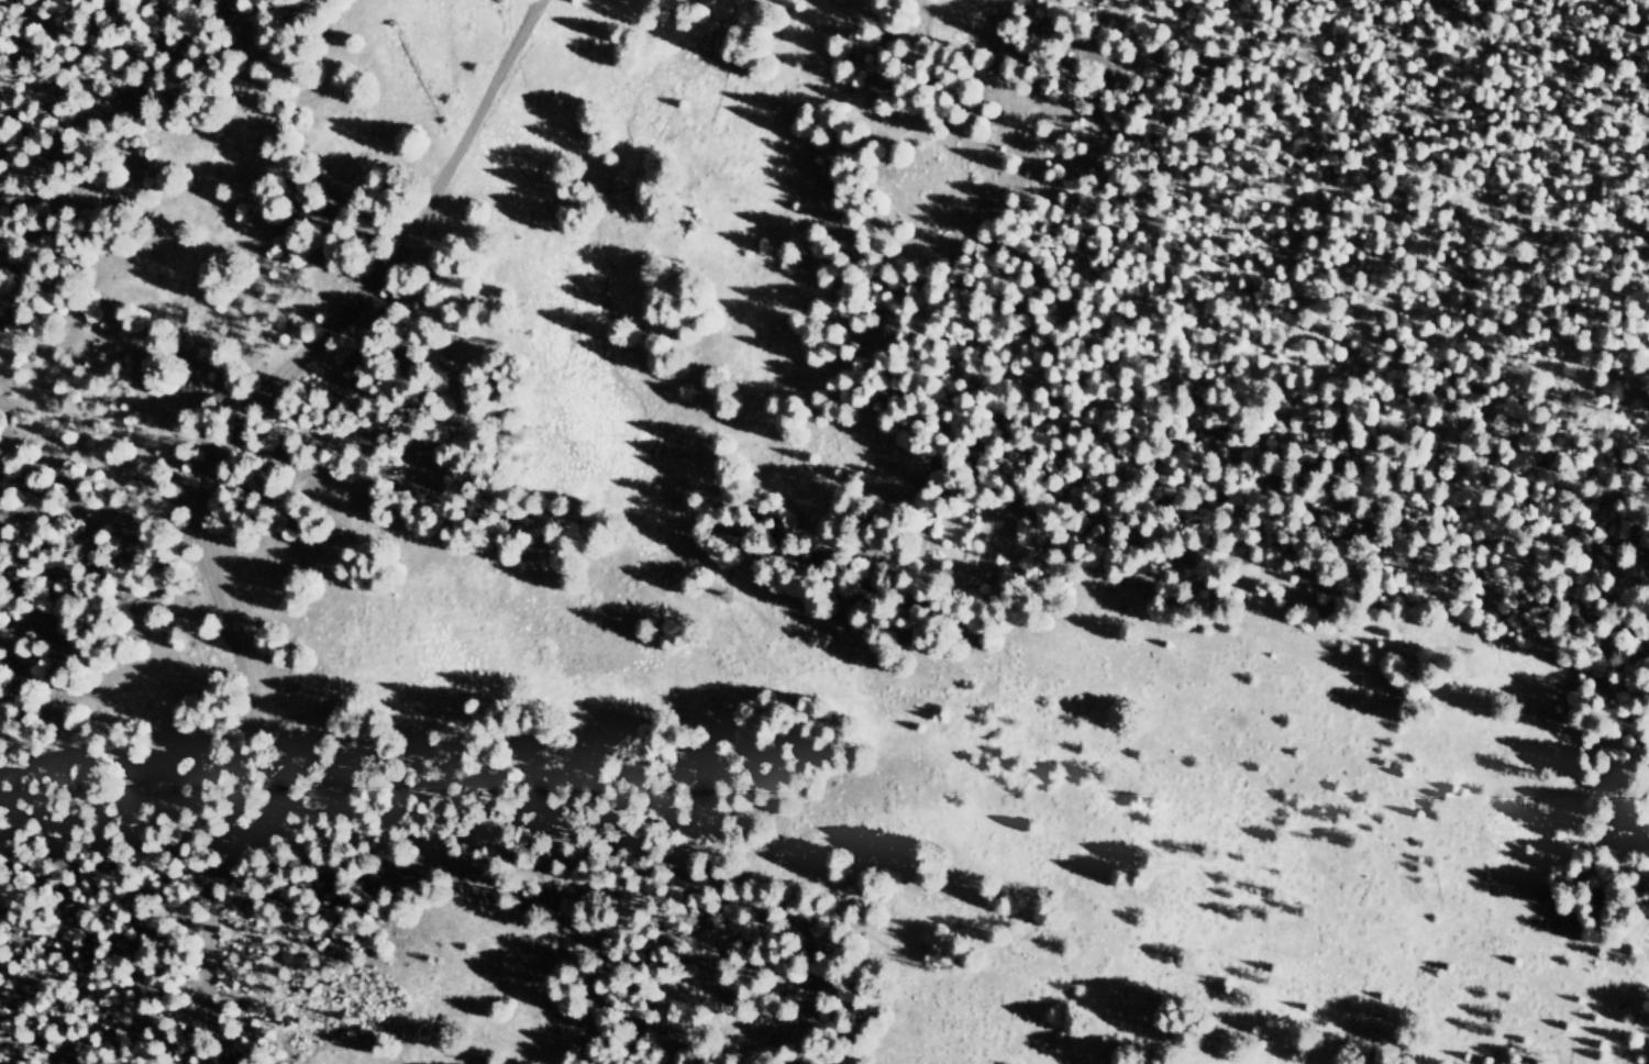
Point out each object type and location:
road: (229, 486)

